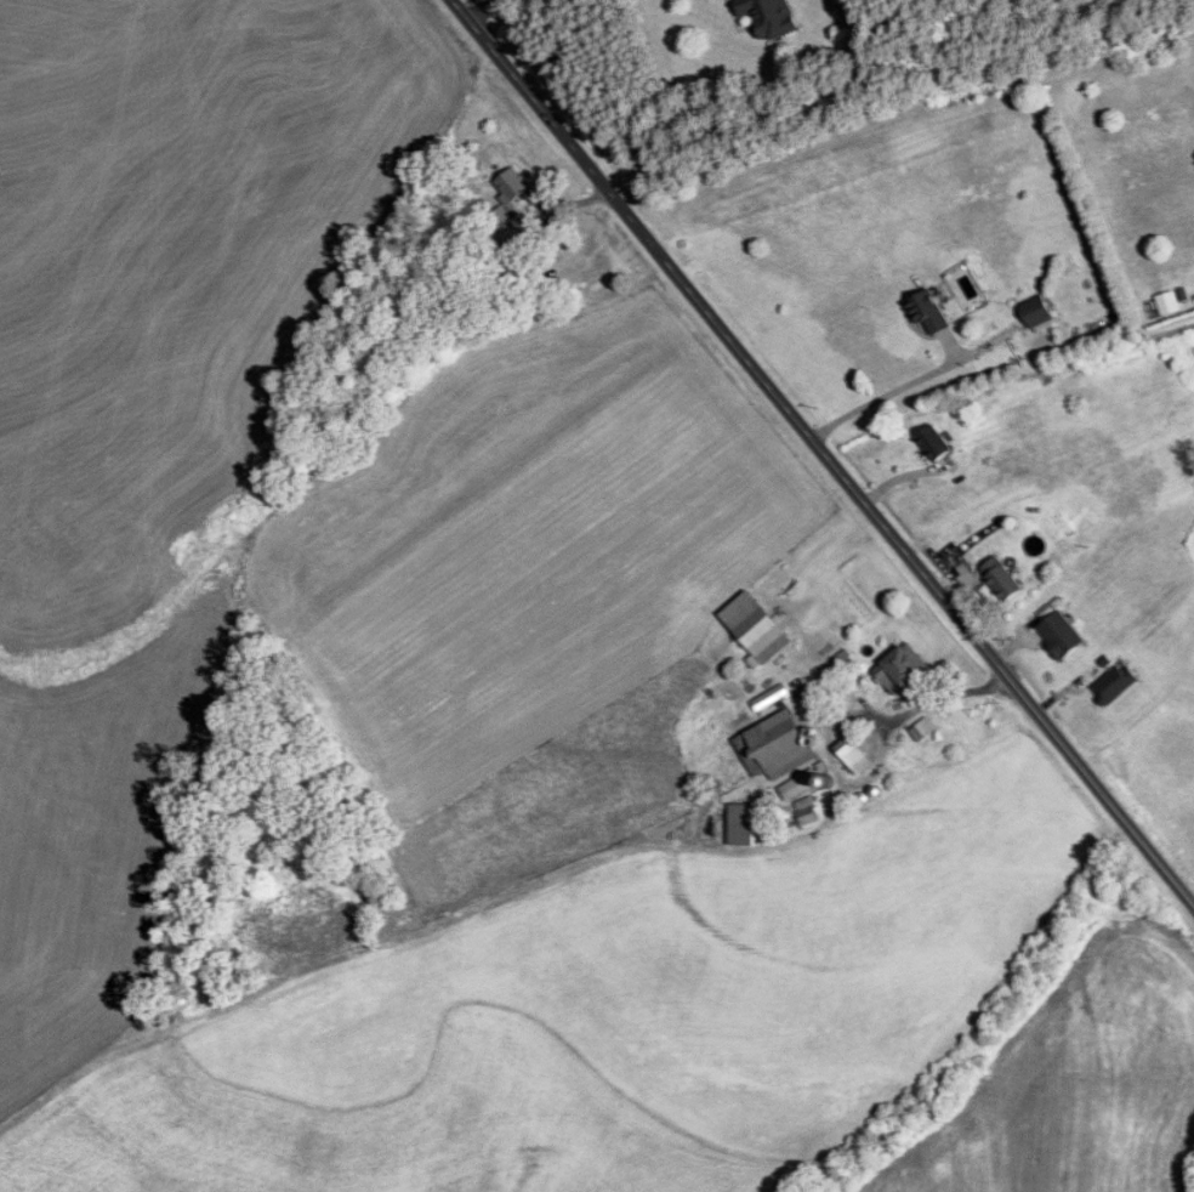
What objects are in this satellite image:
road: (481, 8)
building: (768, 17)
building: (511, 187)
building: (507, 263)
building: (926, 311)
building: (1034, 312)
road: (885, 395)
building: (931, 442)
road: (823, 453)
building: (1000, 578)
building: (1059, 635)
building: (761, 636)
building: (898, 669)
building: (1113, 683)
road: (903, 715)
building: (777, 745)
building: (854, 757)
building: (801, 784)

